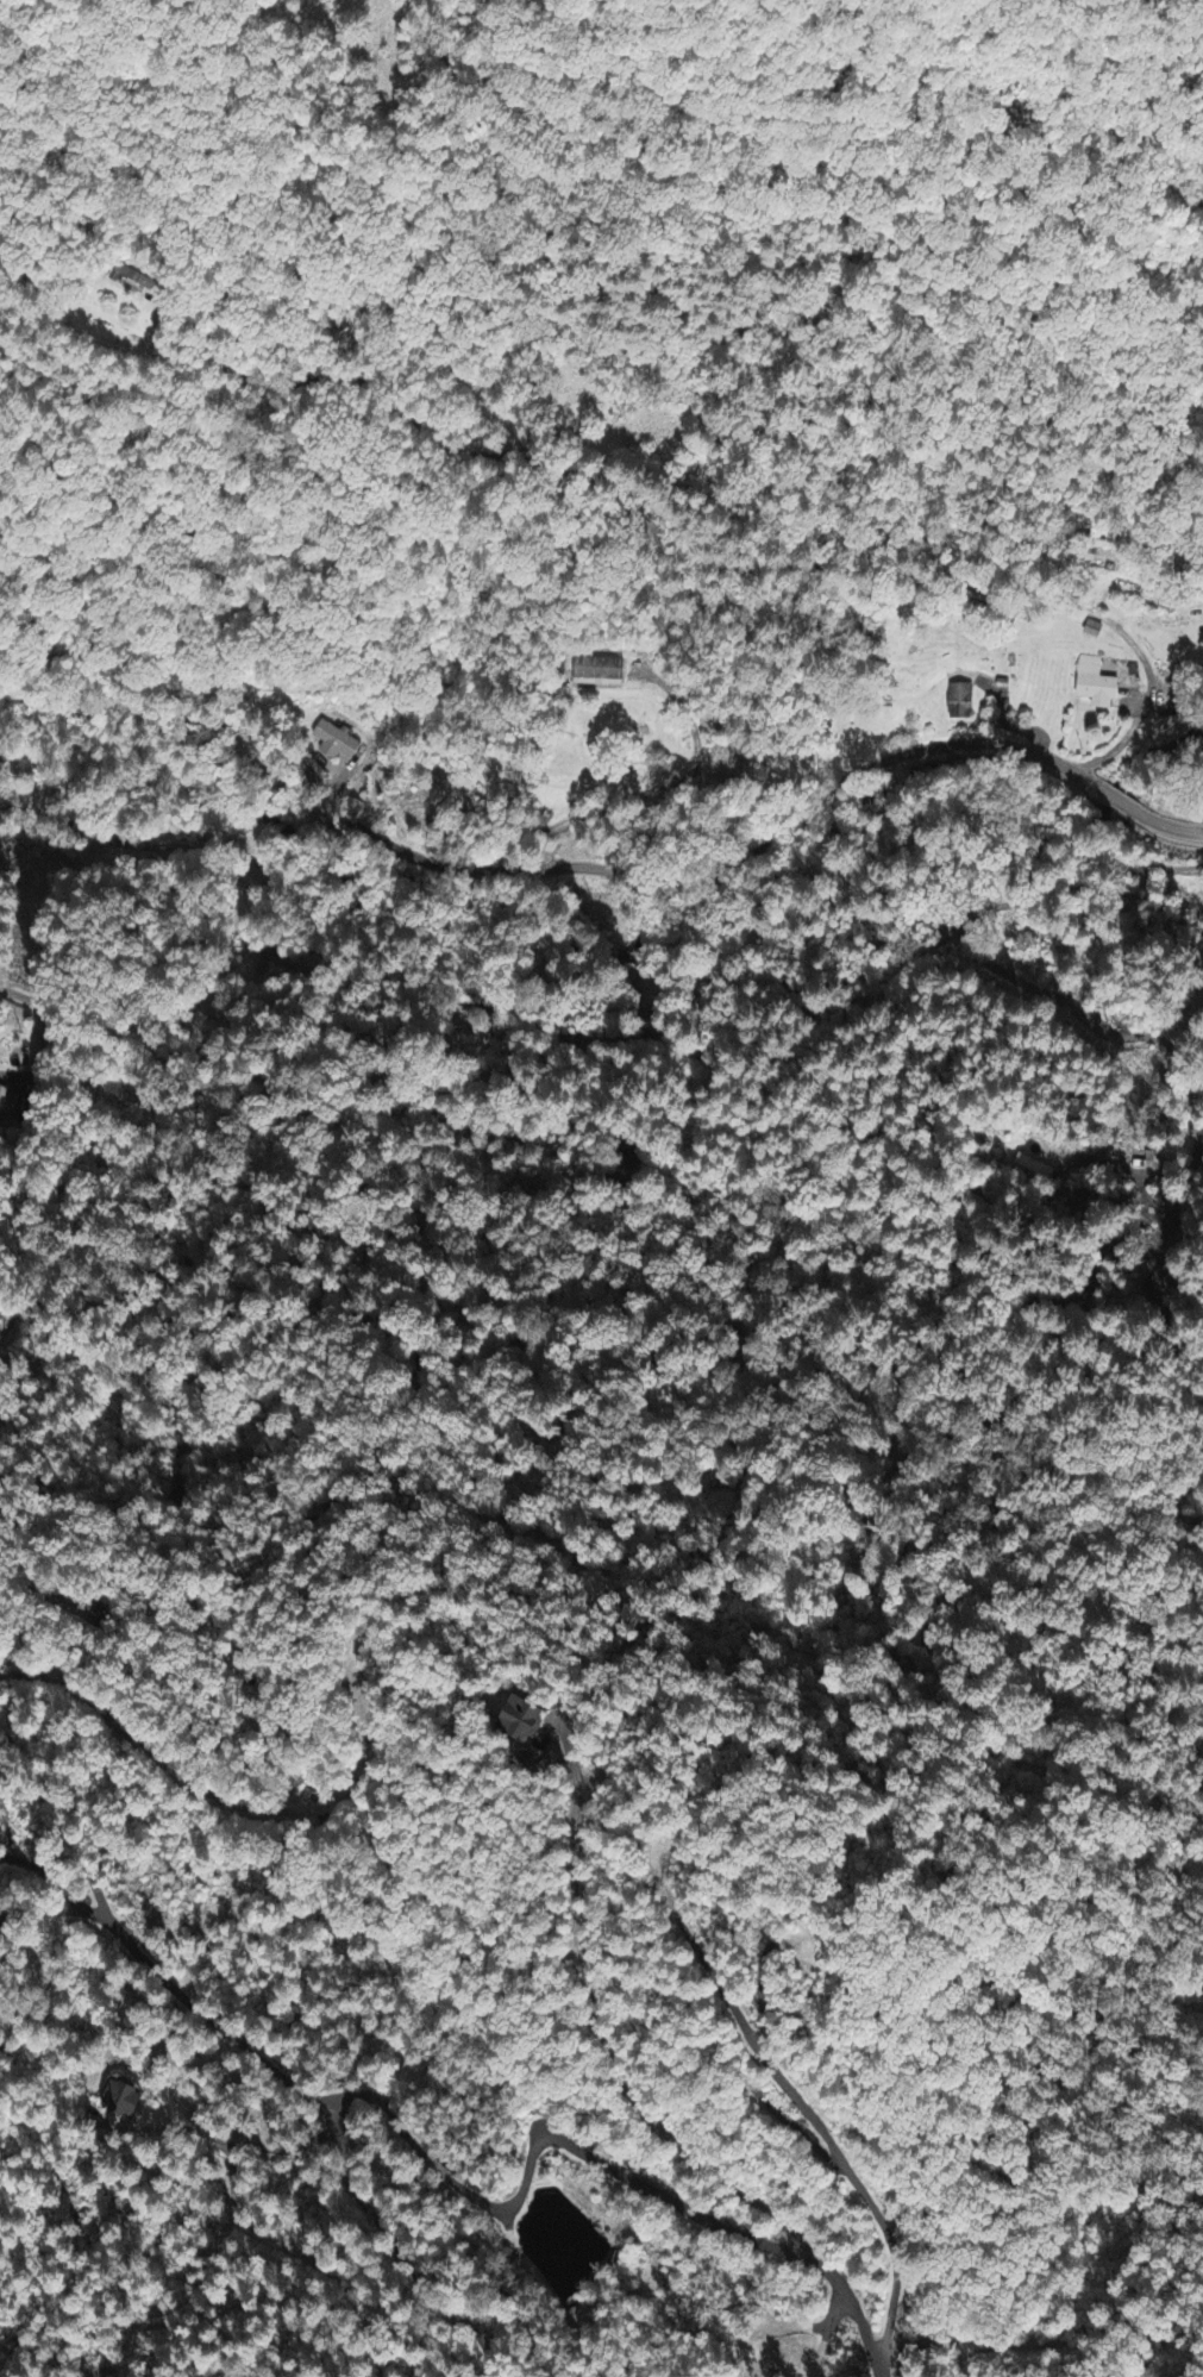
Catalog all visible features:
building: (134, 280)
road: (688, 543)
building: (599, 671)
building: (1095, 686)
building: (960, 702)
building: (334, 744)
road: (604, 869)
building: (521, 1731)
road: (302, 1808)
building: (123, 2100)
road: (262, 2147)
road: (457, 2183)
road: (396, 2248)

